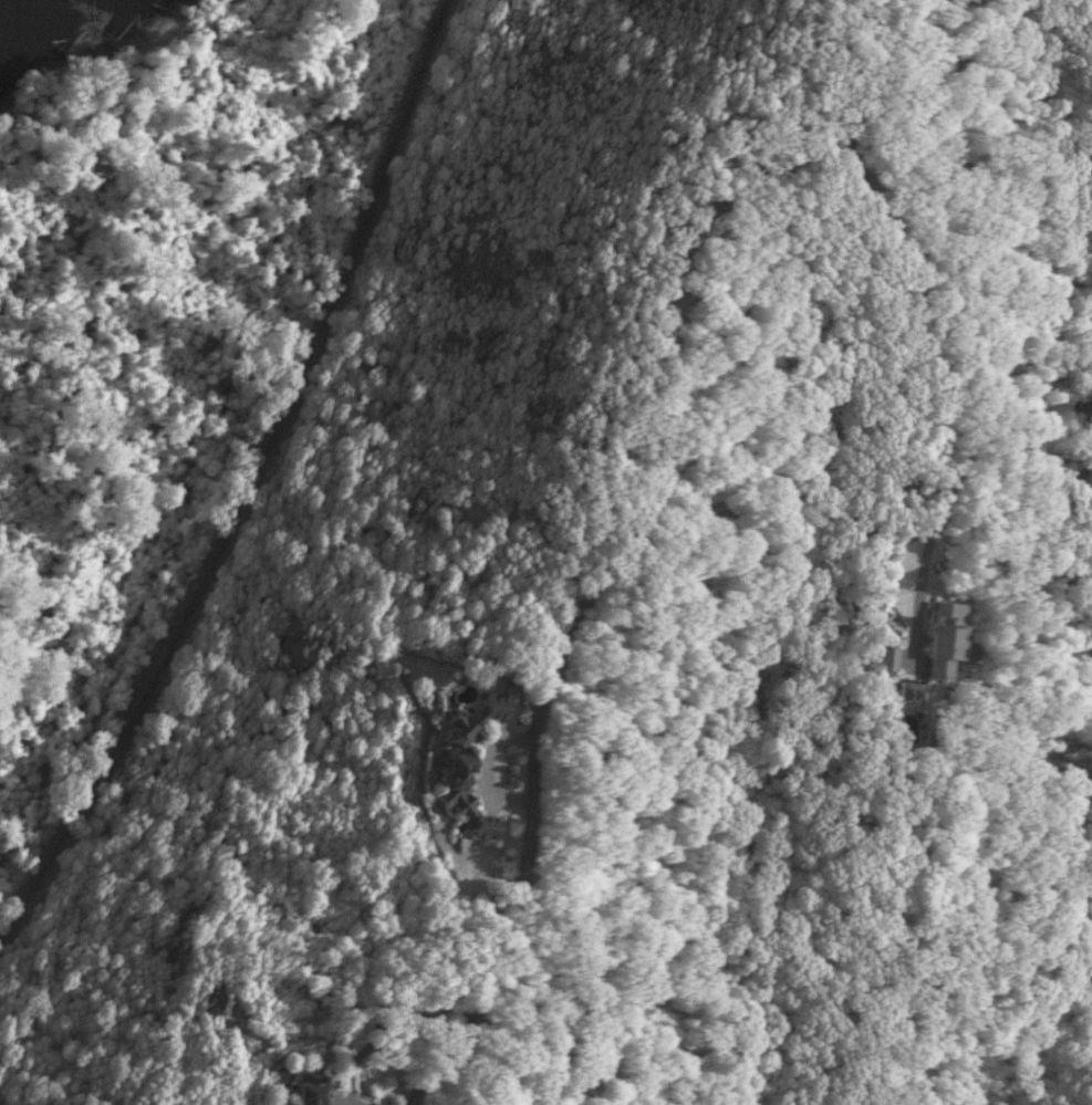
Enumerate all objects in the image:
road: (928, 356)
railway: (251, 487)
road: (633, 529)
building: (949, 640)
building: (887, 659)
building: (912, 692)
building: (469, 765)
road: (487, 765)
building: (217, 1003)
road: (379, 1024)
building: (314, 1091)

